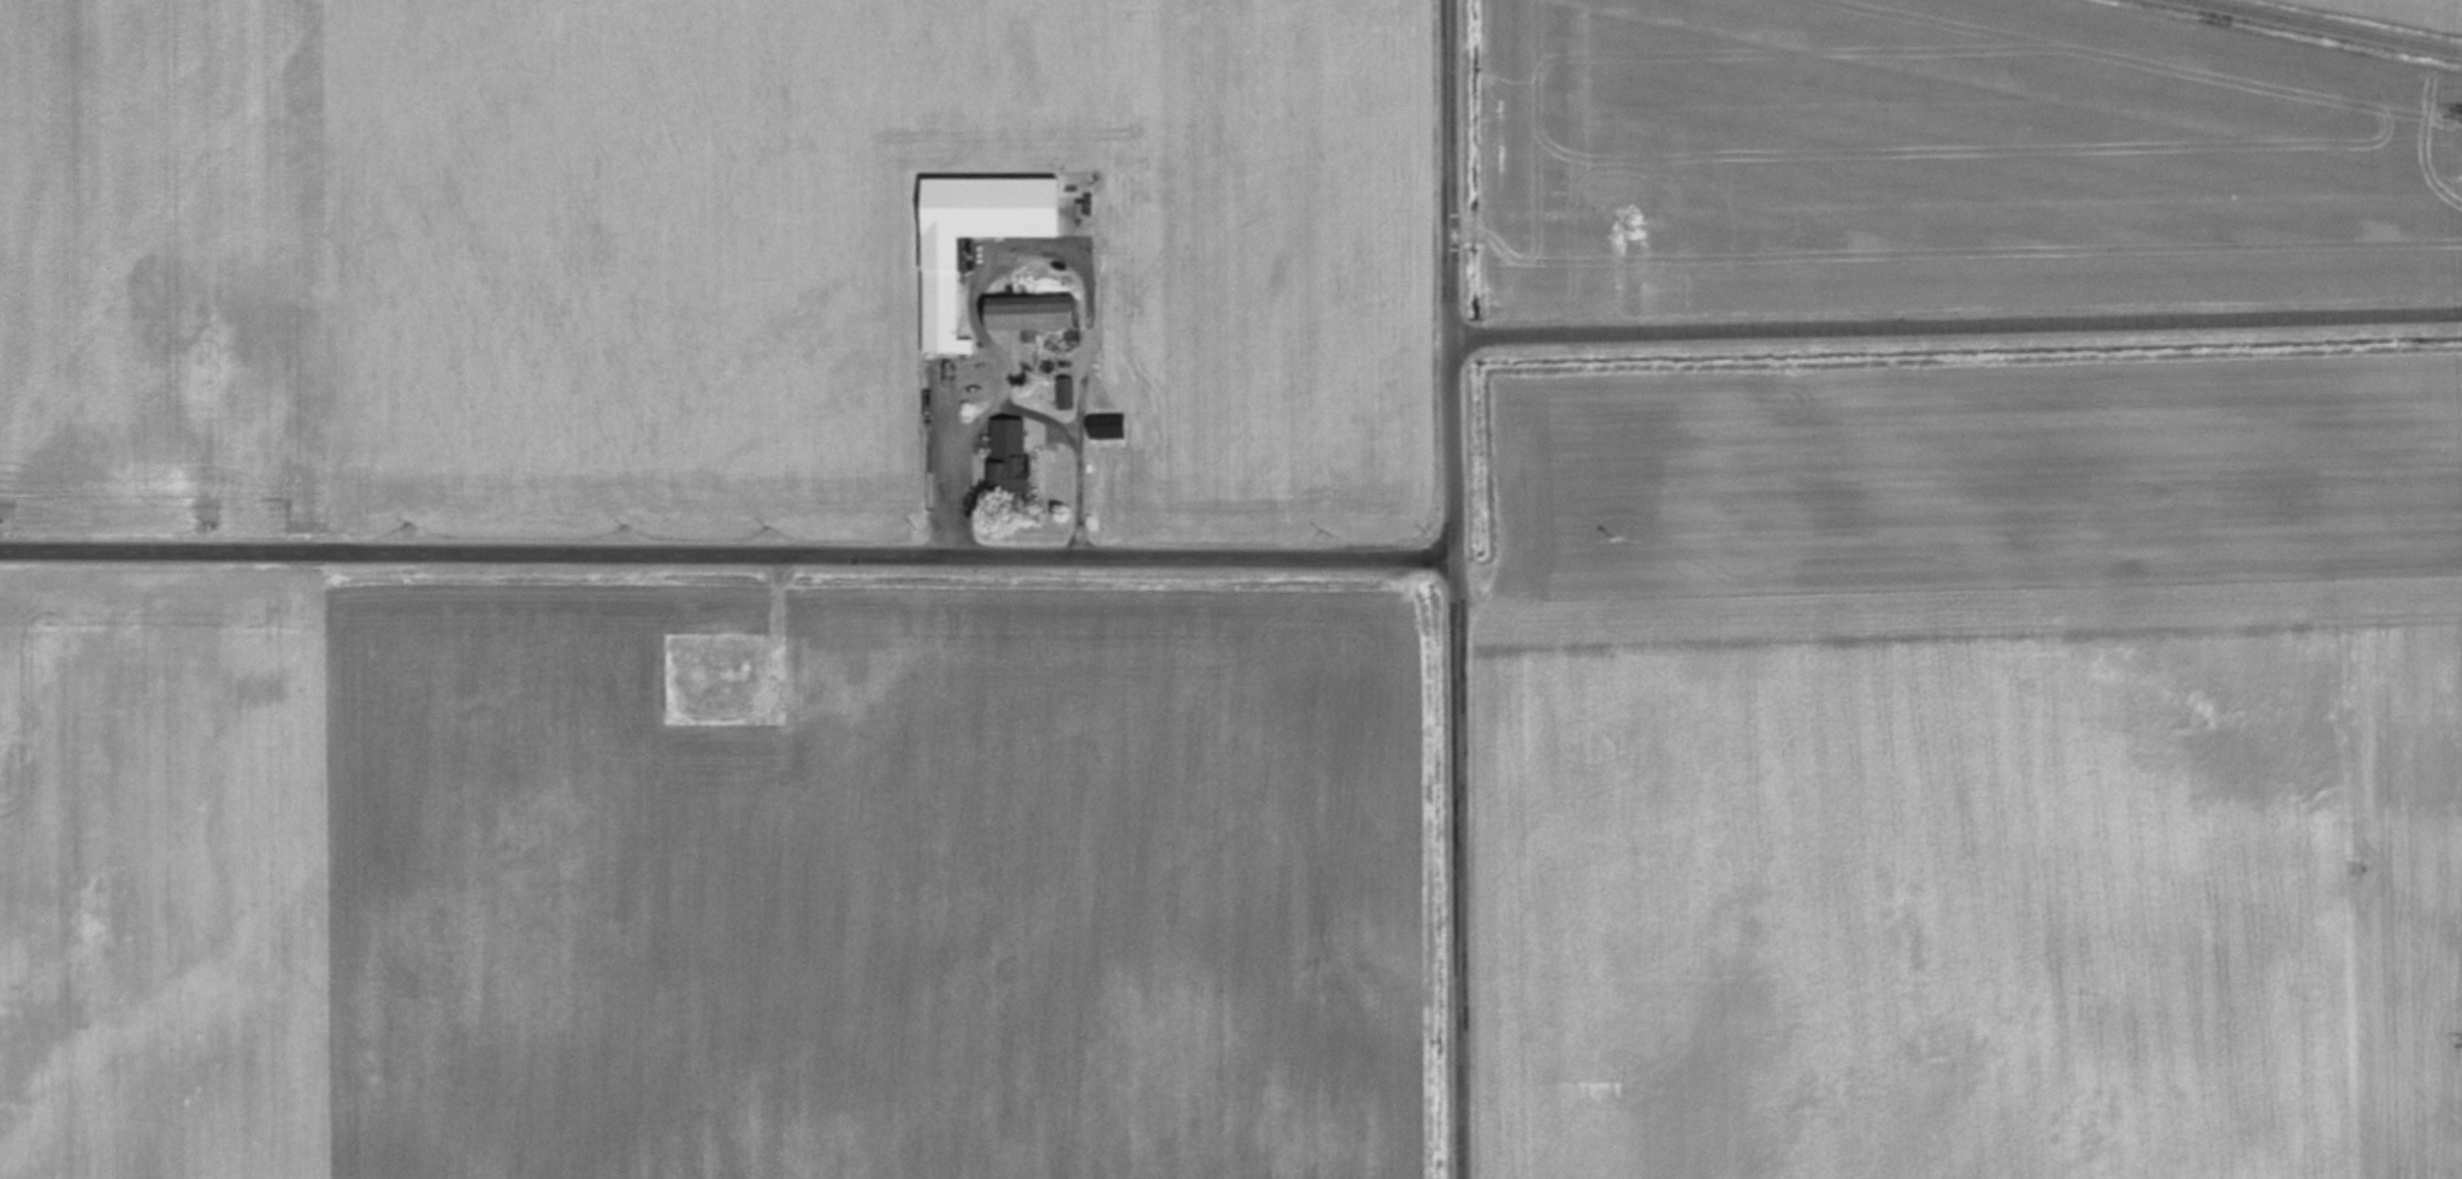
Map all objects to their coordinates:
railway: (2327, 25)
road: (1451, 170)
building: (938, 312)
building: (1023, 313)
road: (1956, 327)
building: (1064, 392)
road: (1014, 399)
building: (1104, 427)
road: (1454, 450)
building: (1005, 464)
road: (728, 557)
road: (1460, 869)

